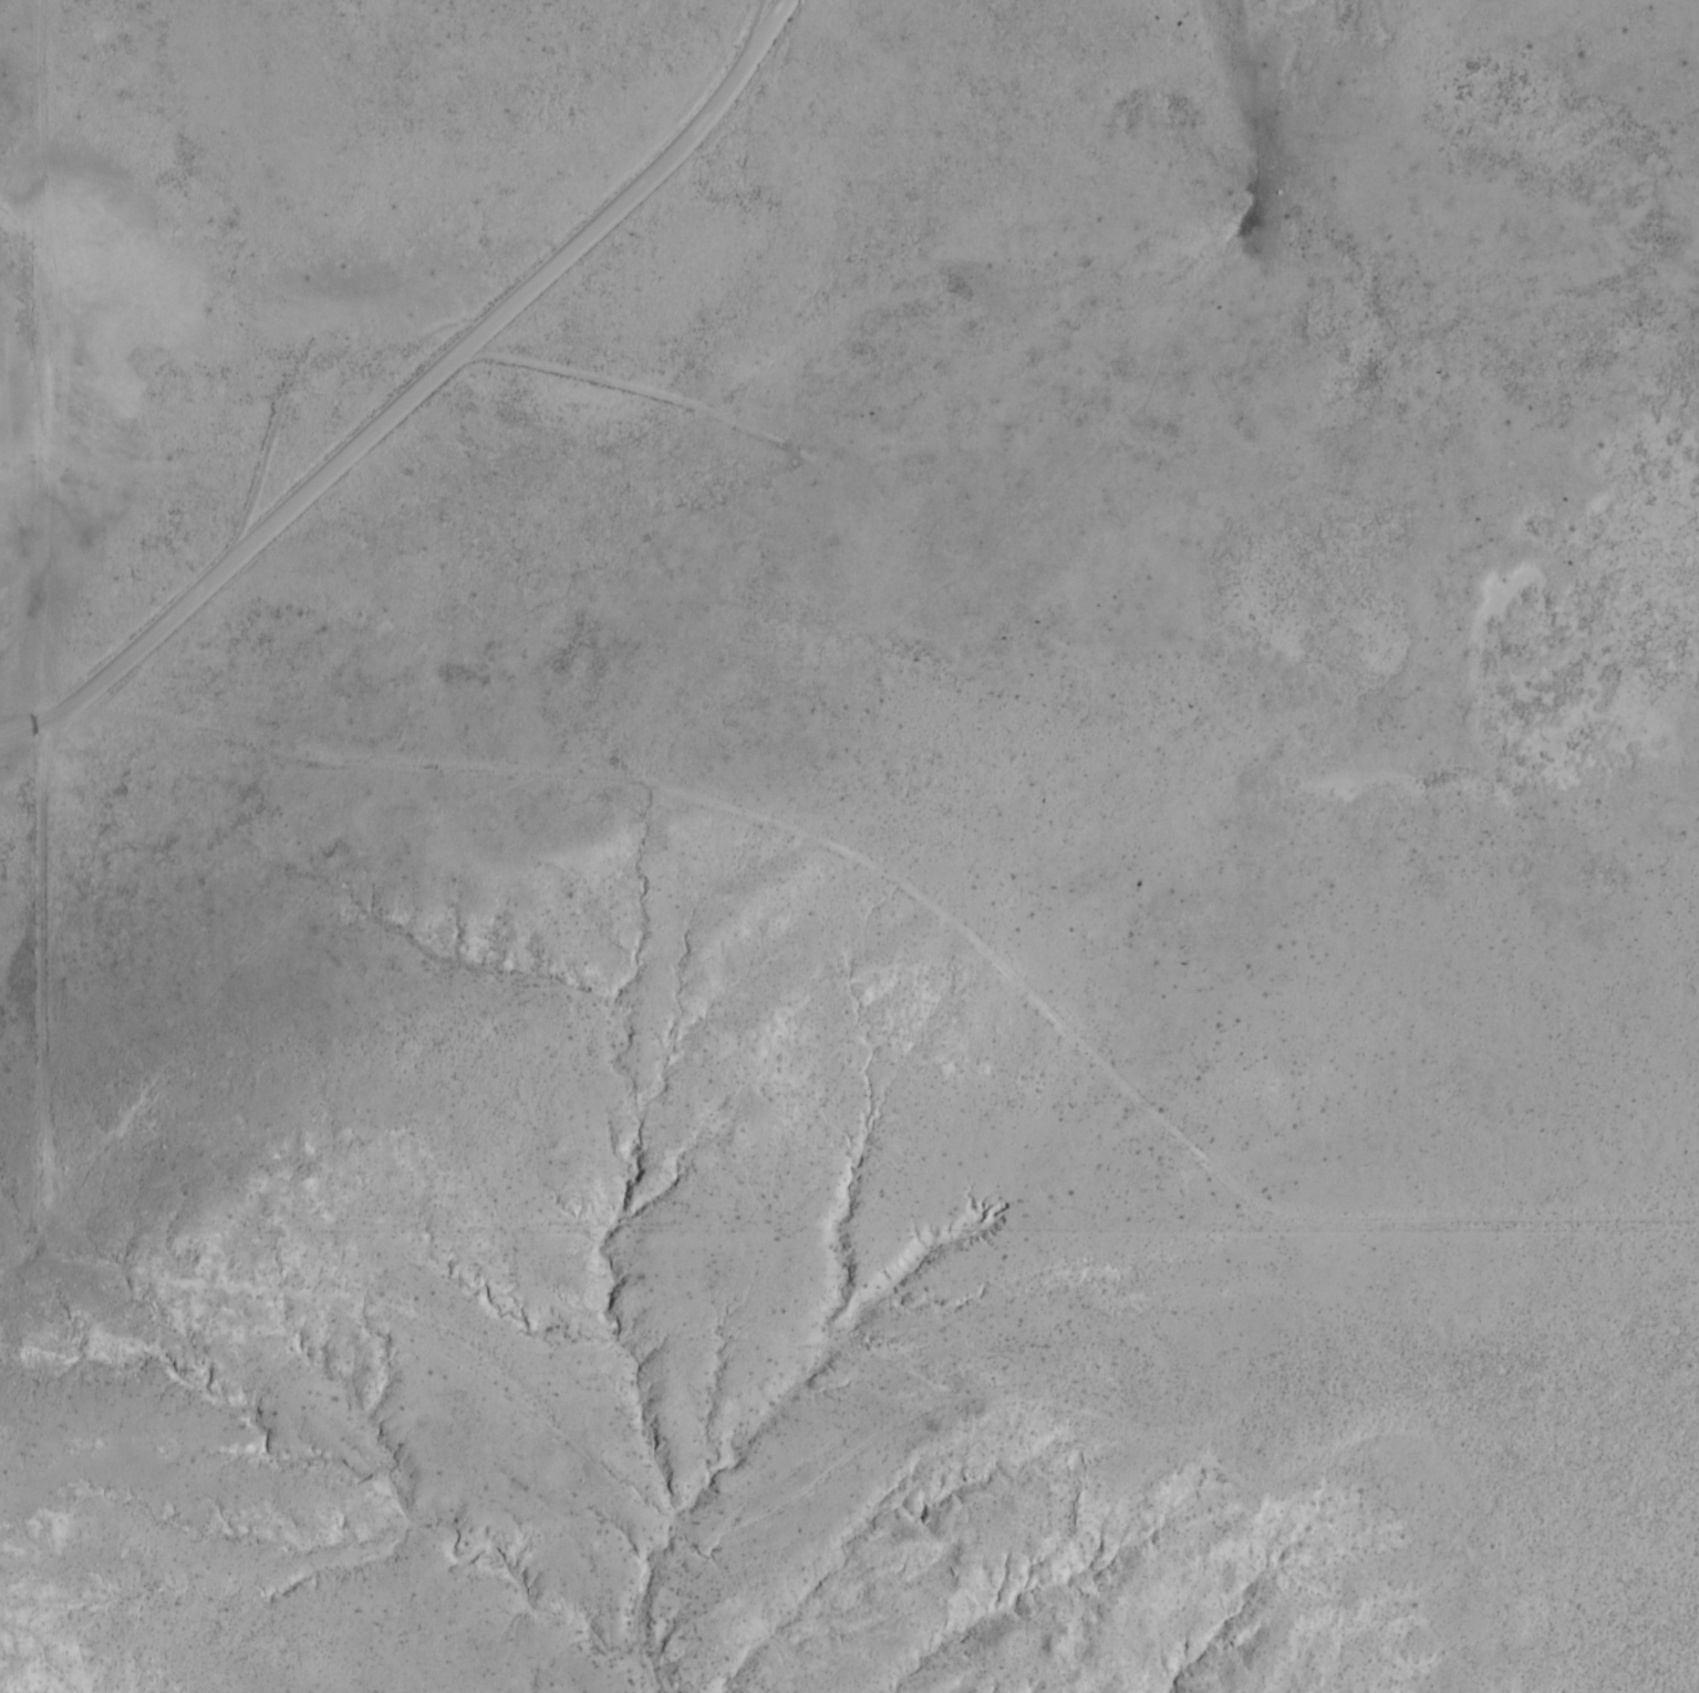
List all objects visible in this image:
road: (413, 391)
road: (914, 953)

